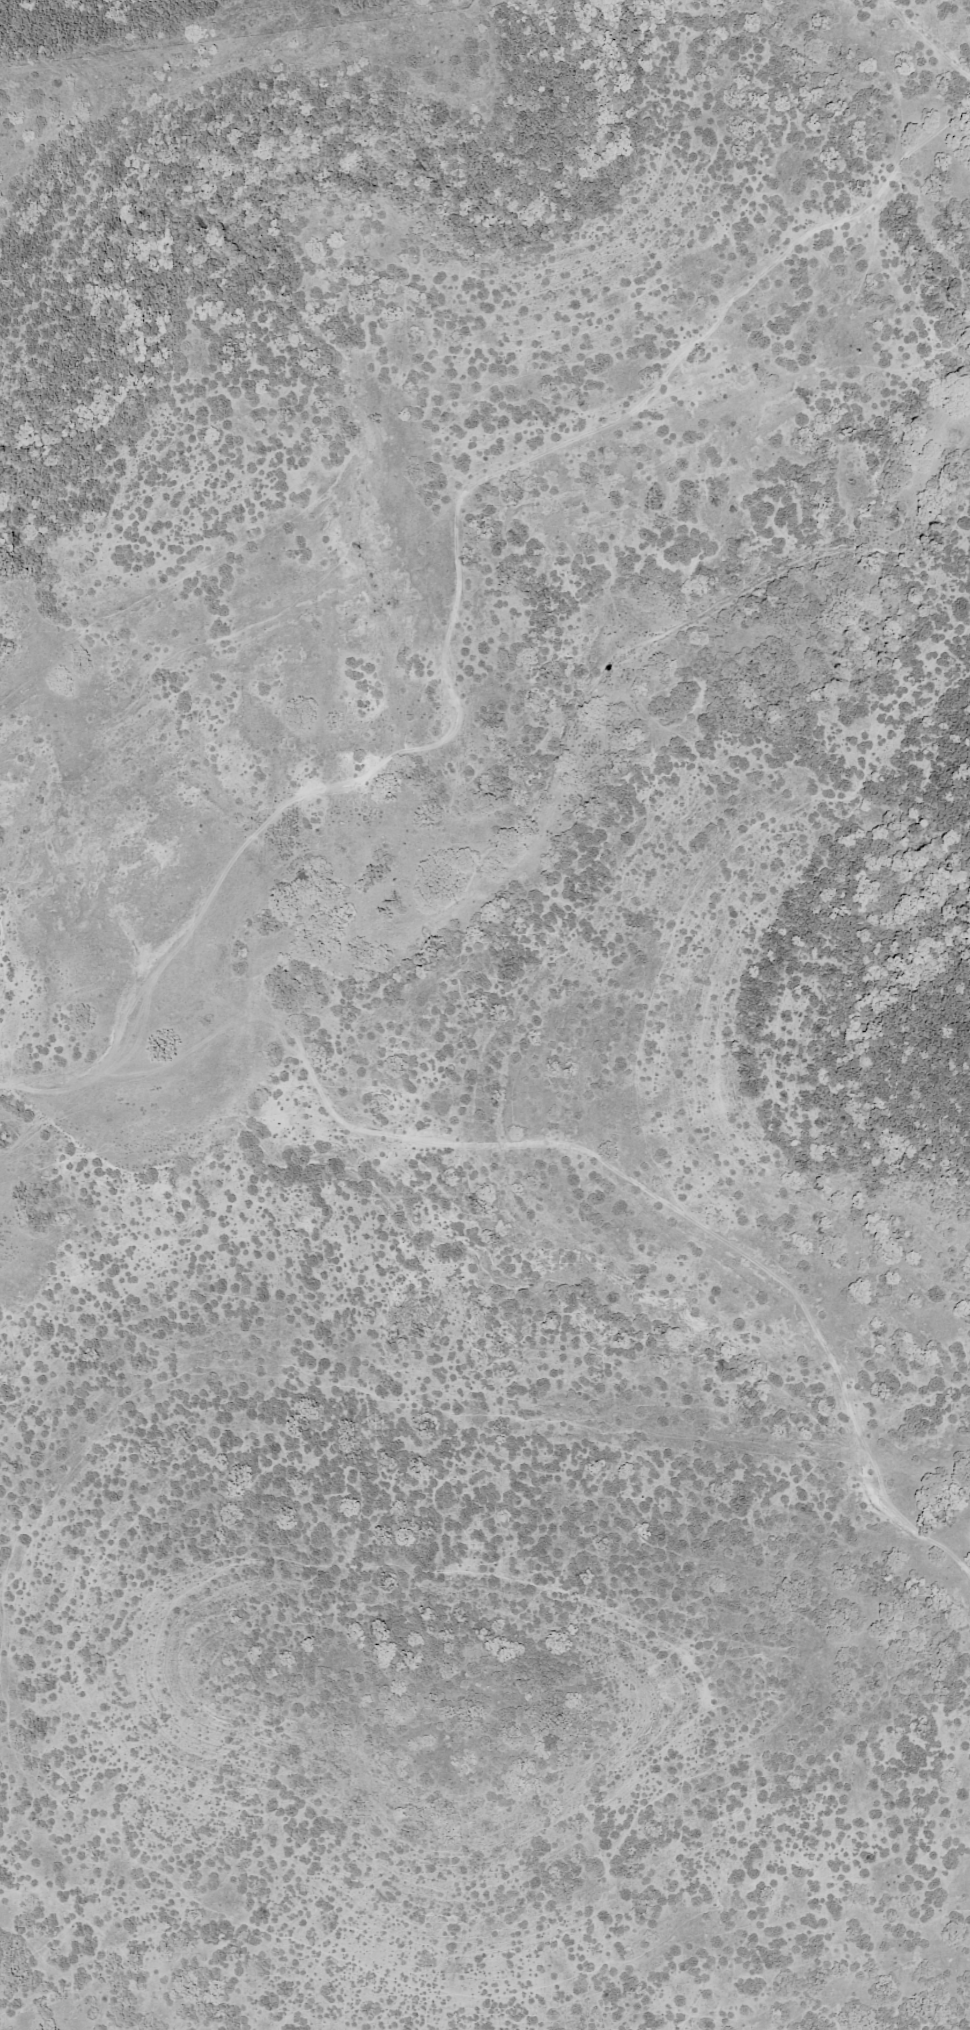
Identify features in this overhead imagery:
road: (258, 832)

